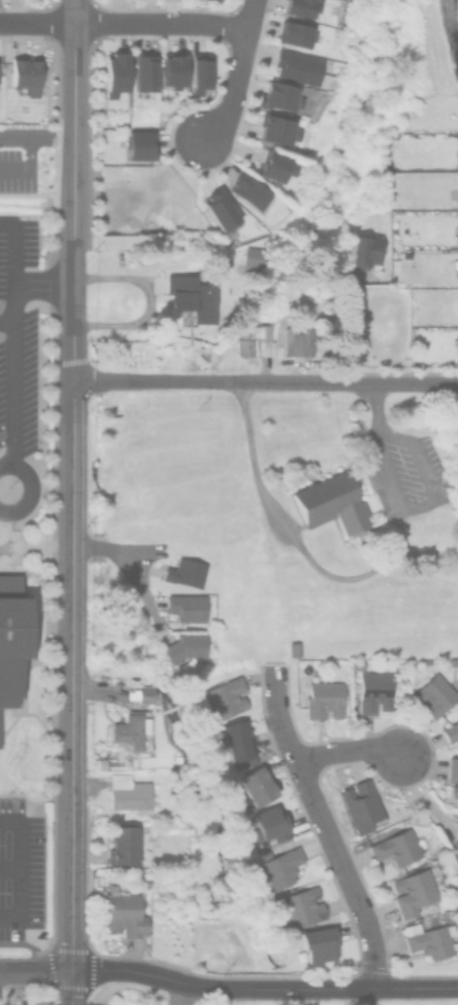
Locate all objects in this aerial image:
building: (300, 6)
road: (36, 23)
road: (120, 25)
road: (207, 26)
building: (294, 33)
building: (297, 66)
building: (171, 68)
building: (142, 69)
building: (113, 71)
building: (197, 71)
building: (23, 72)
road: (235, 72)
building: (278, 95)
building: (276, 129)
road: (35, 136)
building: (456, 141)
building: (138, 143)
road: (28, 164)
building: (274, 166)
building: (250, 191)
building: (456, 193)
building: (457, 204)
building: (218, 209)
building: (455, 231)
parking lot: (19, 246)
building: (363, 249)
road: (13, 250)
building: (251, 255)
building: (325, 264)
building: (456, 272)
building: (457, 296)
building: (192, 297)
road: (146, 303)
building: (457, 306)
road: (6, 324)
building: (256, 334)
building: (296, 339)
building: (457, 341)
road: (12, 344)
road: (209, 383)
road: (403, 385)
parking lot: (19, 388)
road: (70, 482)
road: (34, 489)
building: (330, 504)
road: (129, 570)
building: (184, 572)
road: (339, 578)
building: (185, 606)
building: (11, 636)
building: (185, 647)
building: (293, 647)
building: (356, 665)
building: (375, 687)
building: (145, 694)
building: (433, 695)
building: (224, 697)
building: (322, 697)
building: (131, 731)
building: (450, 731)
building: (235, 743)
road: (350, 751)
building: (452, 777)
building: (254, 786)
building: (127, 790)
building: (359, 807)
building: (268, 825)
road: (325, 826)
building: (121, 843)
building: (398, 846)
building: (457, 846)
building: (263, 853)
building: (280, 866)
road: (8, 867)
parking lot: (21, 869)
road: (17, 870)
building: (415, 888)
building: (302, 905)
building: (123, 912)
building: (429, 921)
building: (428, 939)
building: (317, 943)
road: (34, 969)
road: (67, 985)
road: (221, 989)
road: (418, 990)
park: (181, 998)

